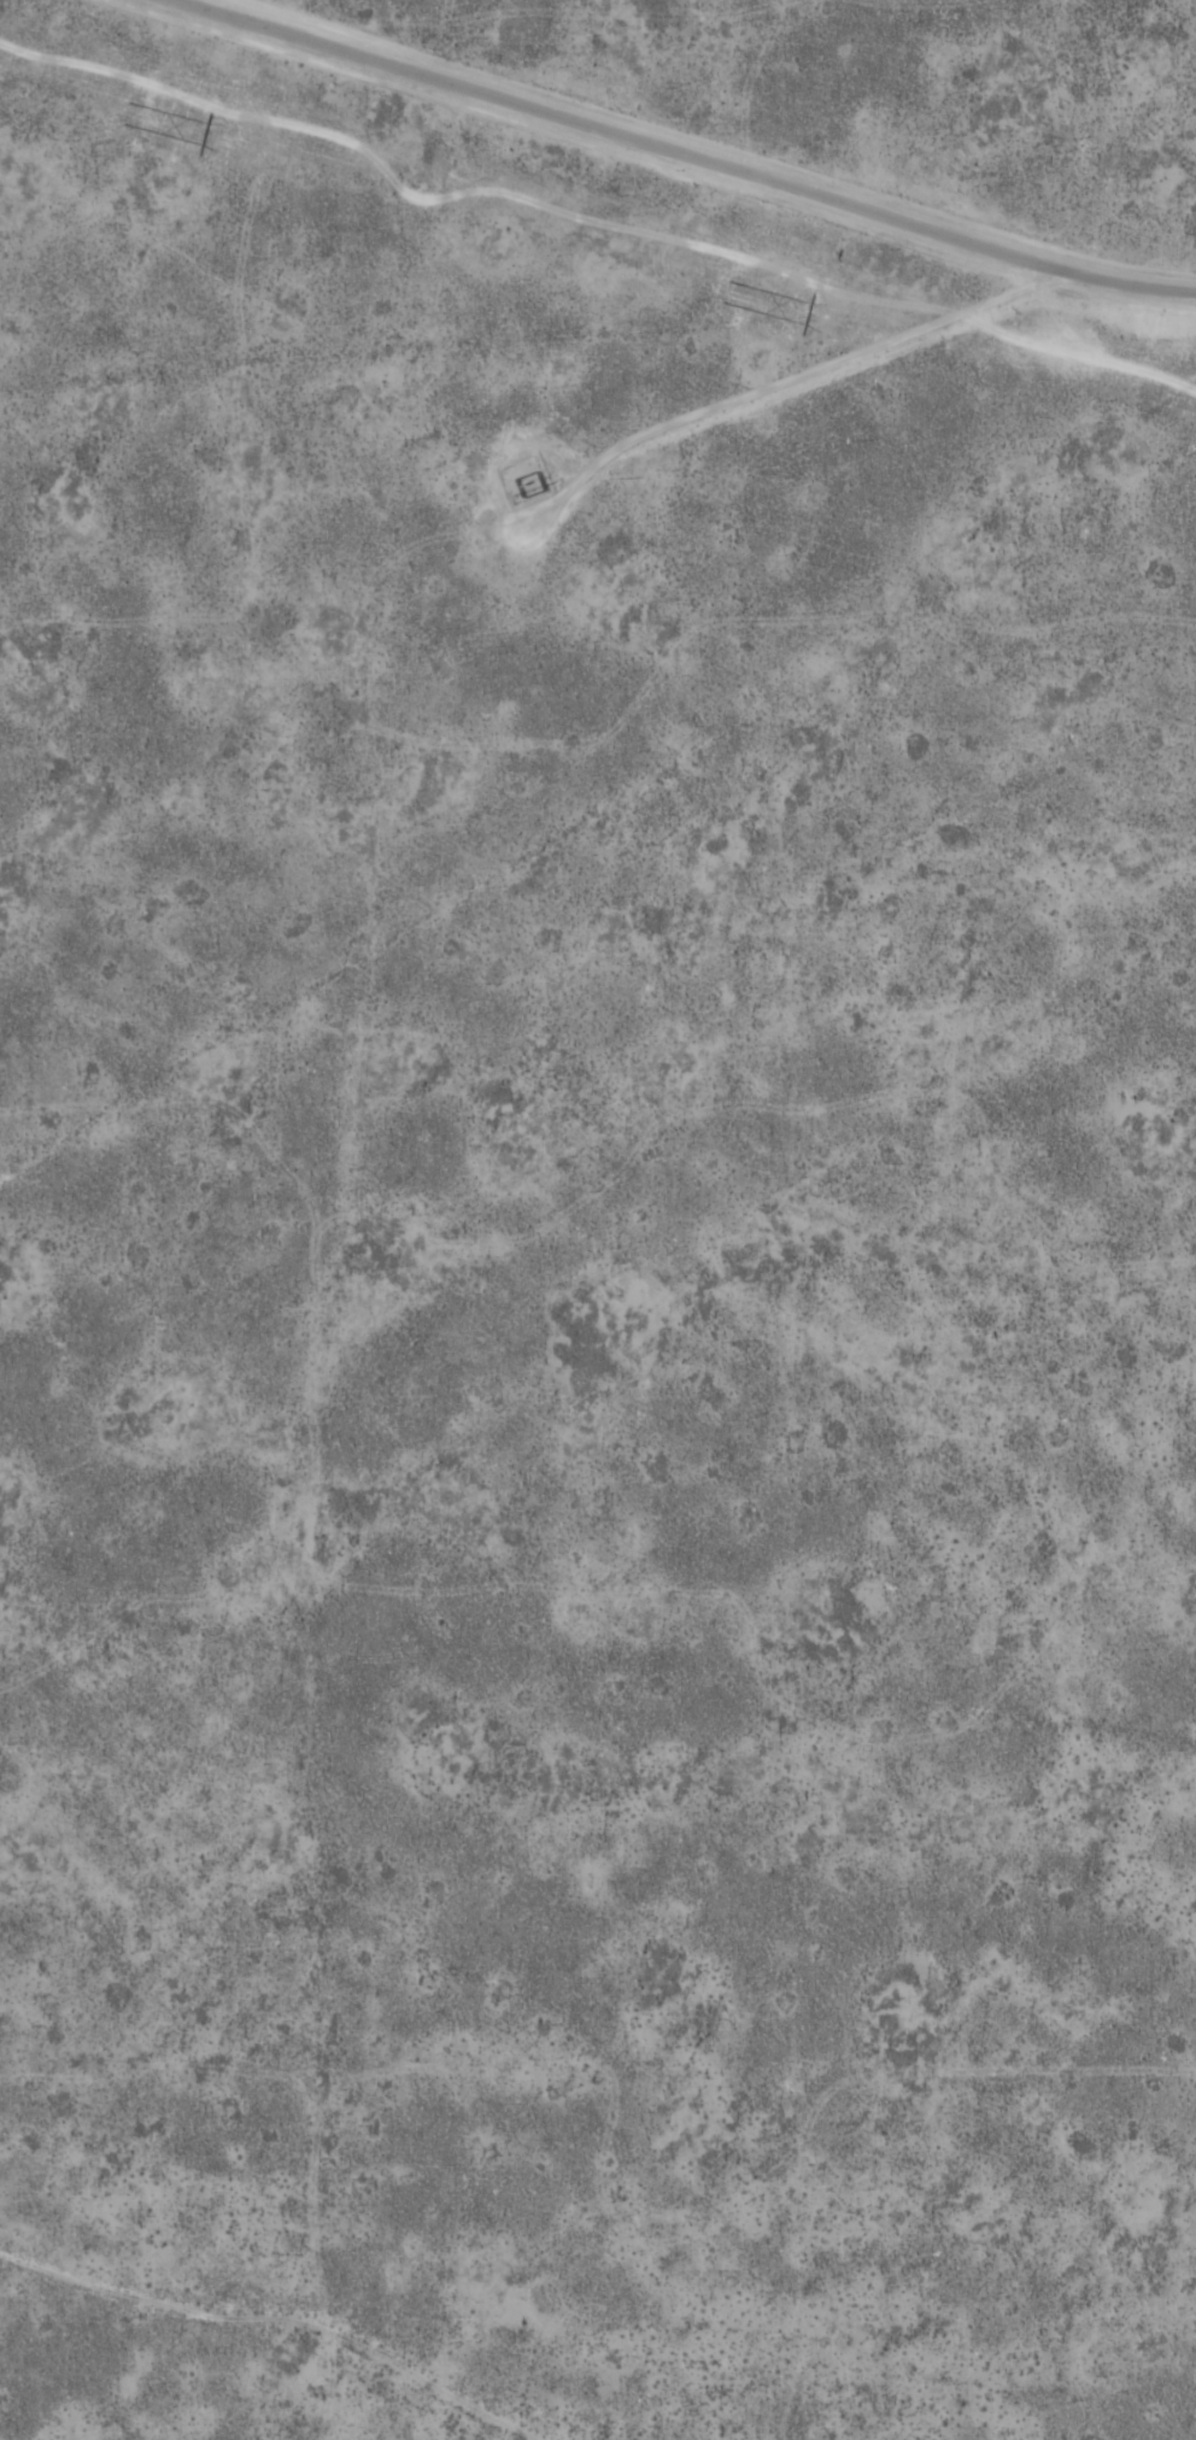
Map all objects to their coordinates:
road: (680, 154)
road: (98, 2399)

